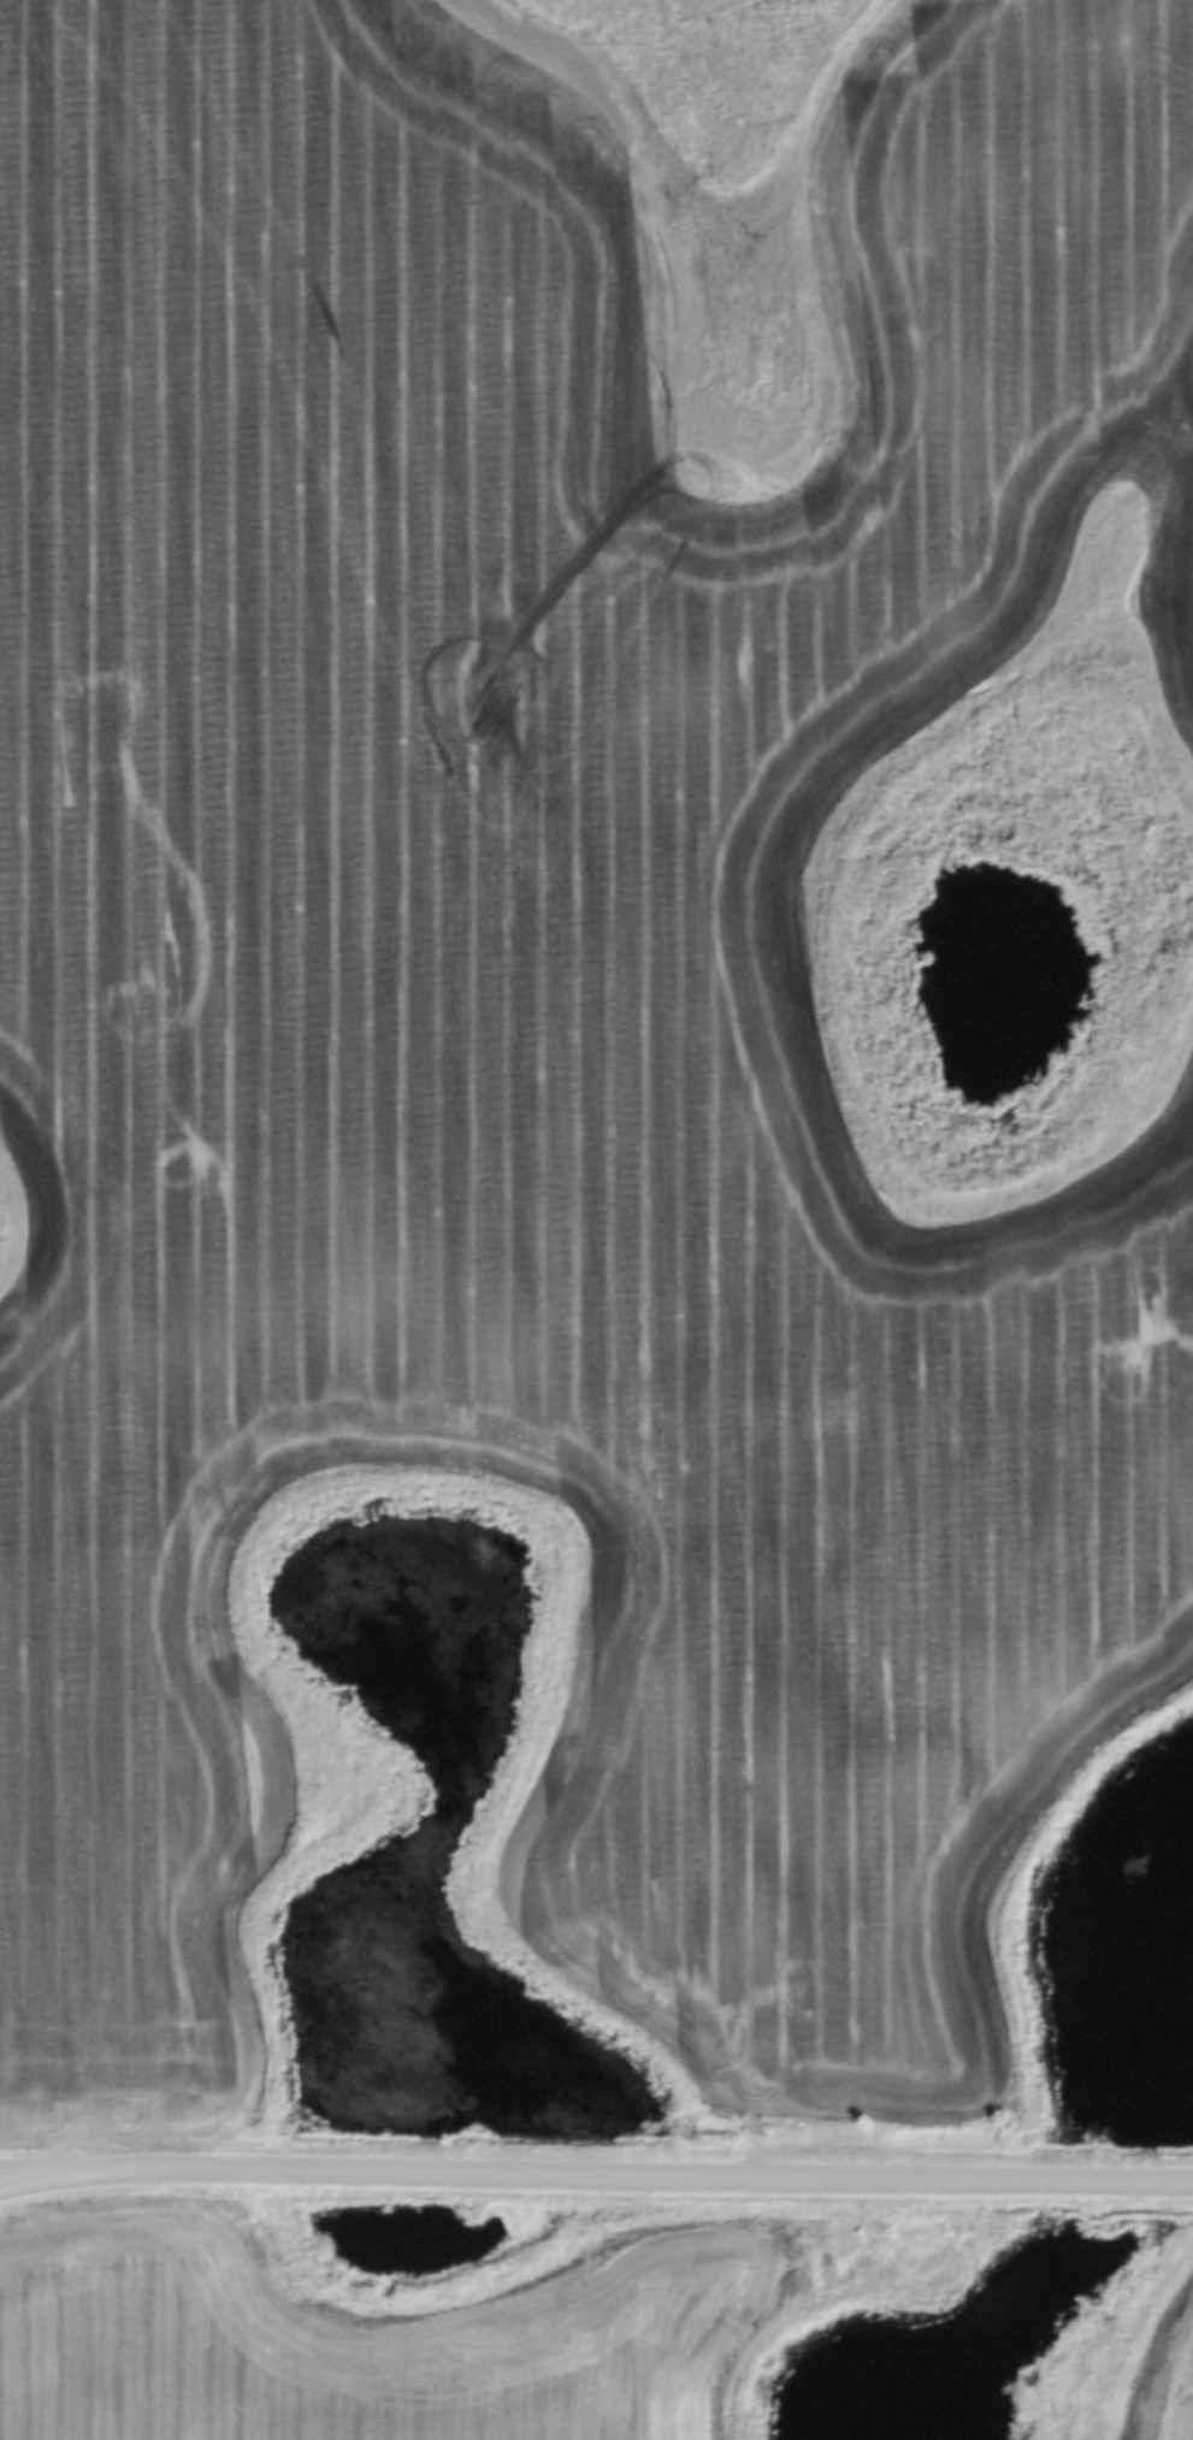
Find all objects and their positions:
road: (48, 2164)
road: (48, 2174)
road: (644, 2179)

